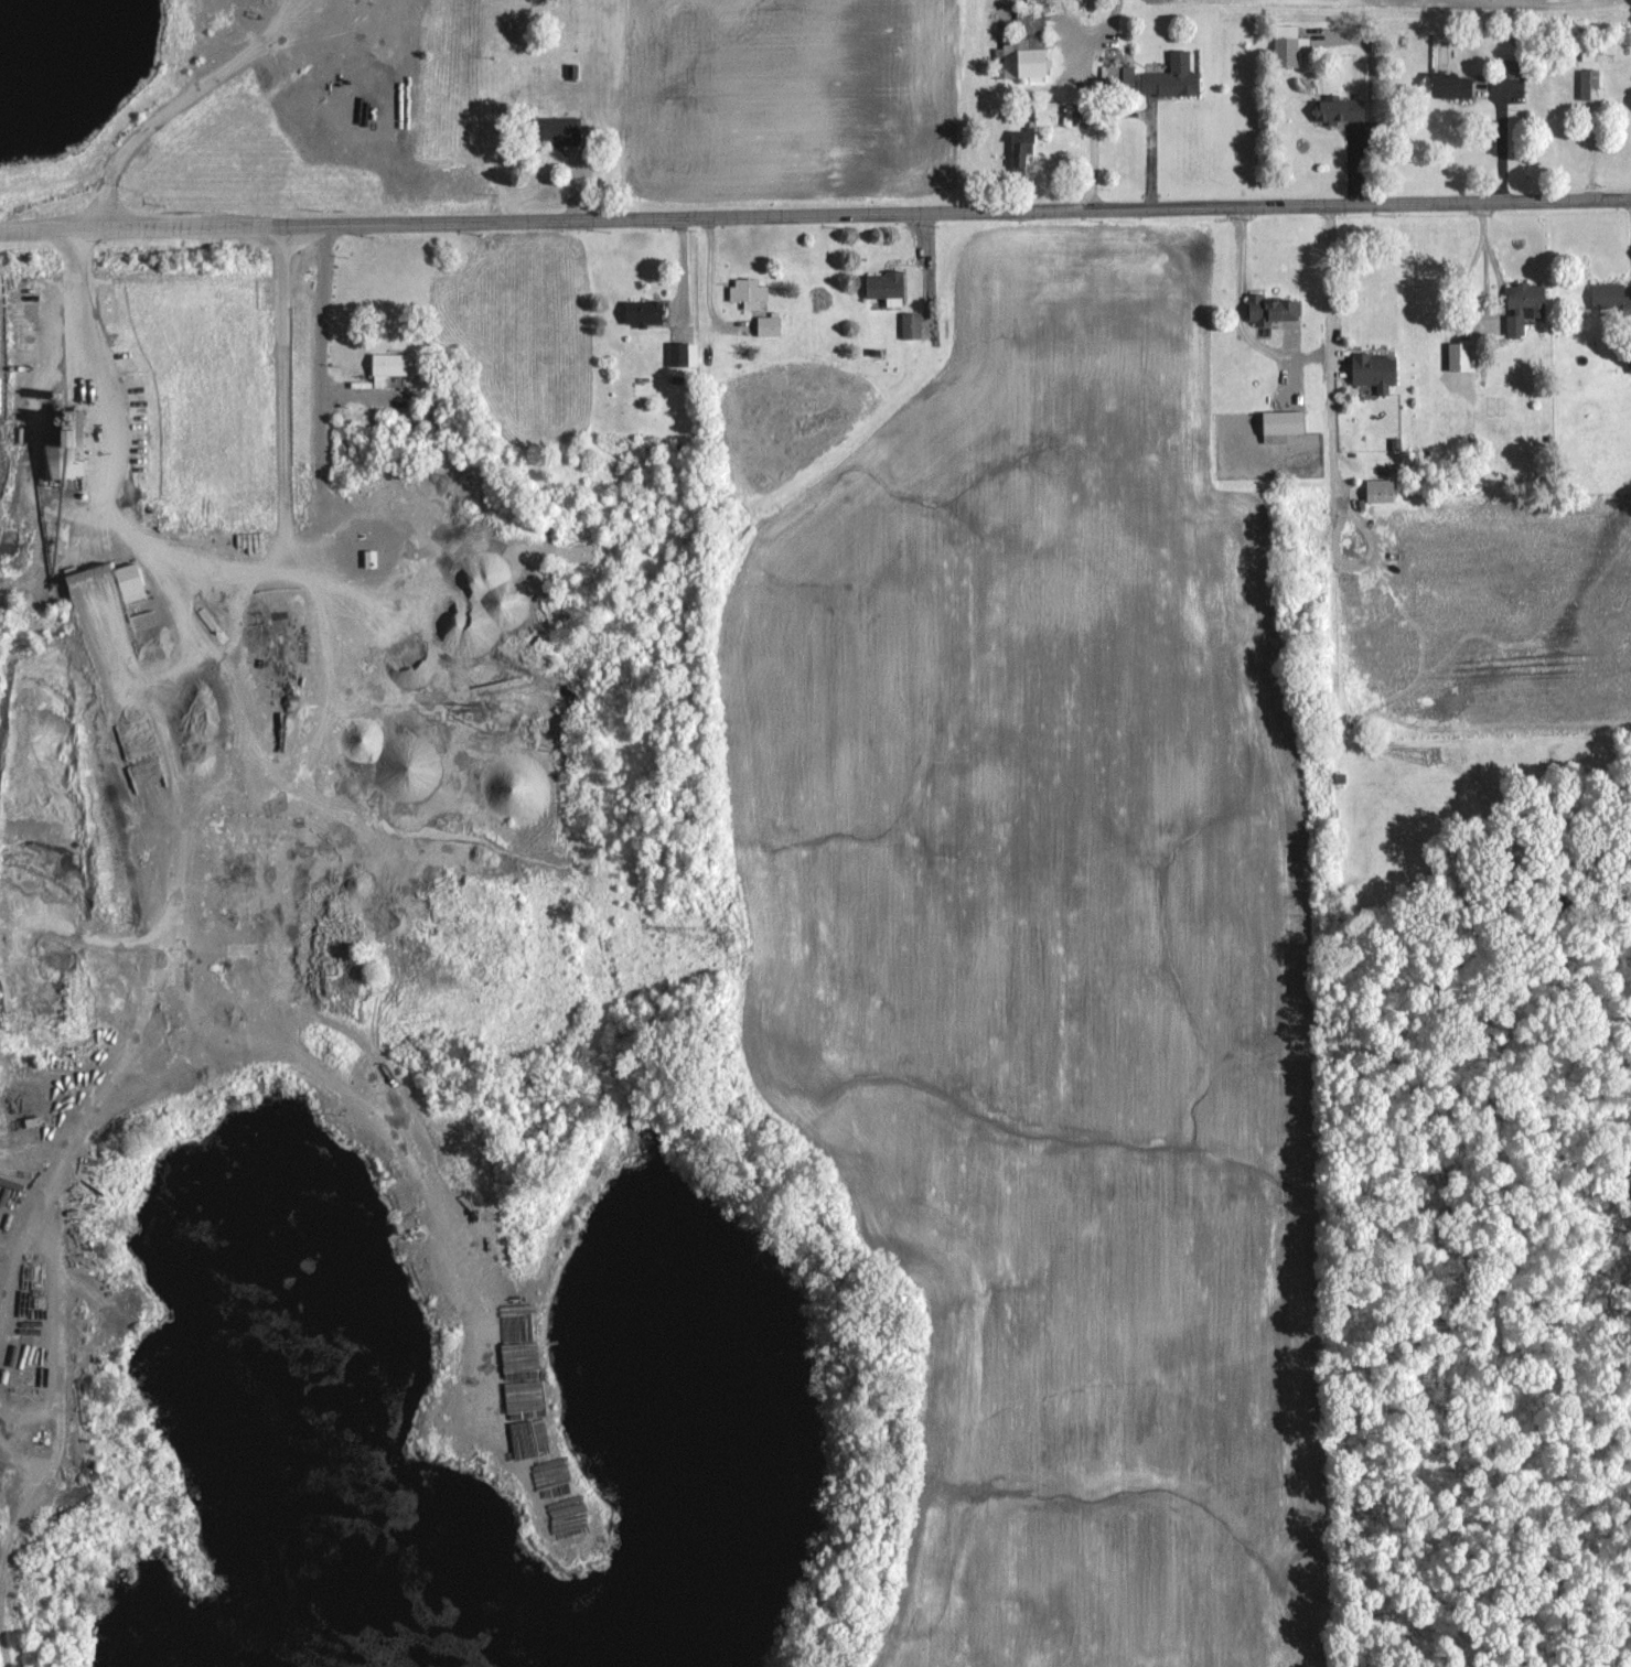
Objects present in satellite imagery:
building: (1030, 20)
road: (1102, 23)
building: (1288, 45)
building: (1022, 61)
building: (1509, 68)
building: (1118, 73)
building: (1171, 77)
building: (1449, 84)
building: (1588, 84)
road: (181, 95)
building: (1339, 110)
building: (1044, 115)
road: (1090, 125)
building: (559, 129)
road: (1150, 131)
road: (1501, 143)
building: (1020, 147)
road: (815, 213)
road: (930, 267)
road: (1329, 282)
building: (884, 287)
building: (747, 292)
building: (1609, 297)
building: (1523, 305)
road: (314, 308)
building: (1269, 309)
building: (642, 312)
road: (1468, 314)
road: (1237, 315)
building: (910, 324)
building: (768, 326)
building: (683, 354)
building: (1461, 355)
building: (387, 368)
building: (1373, 370)
building: (1280, 424)
road: (1330, 430)
building: (65, 449)
building: (1378, 491)
road: (212, 571)
building: (128, 582)
power tower: (1433, 756)
power tower: (722, 935)

